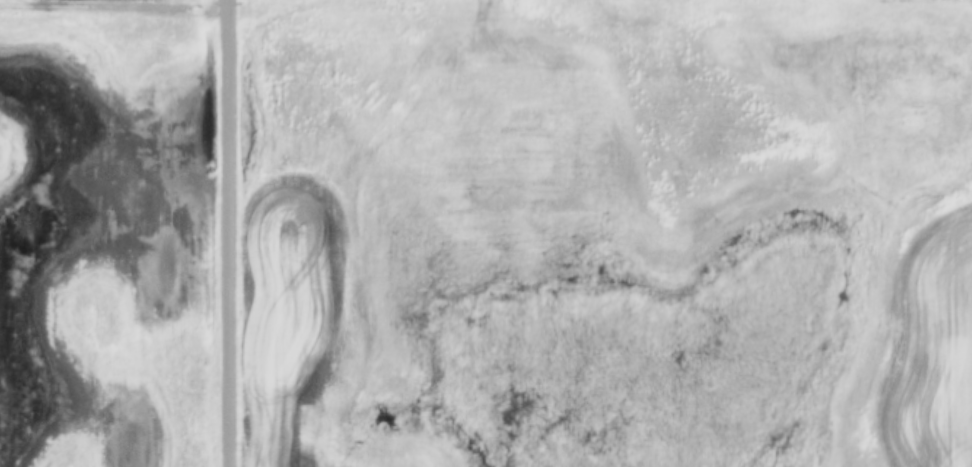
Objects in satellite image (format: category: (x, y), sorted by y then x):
road: (113, 3)
road: (227, 233)

